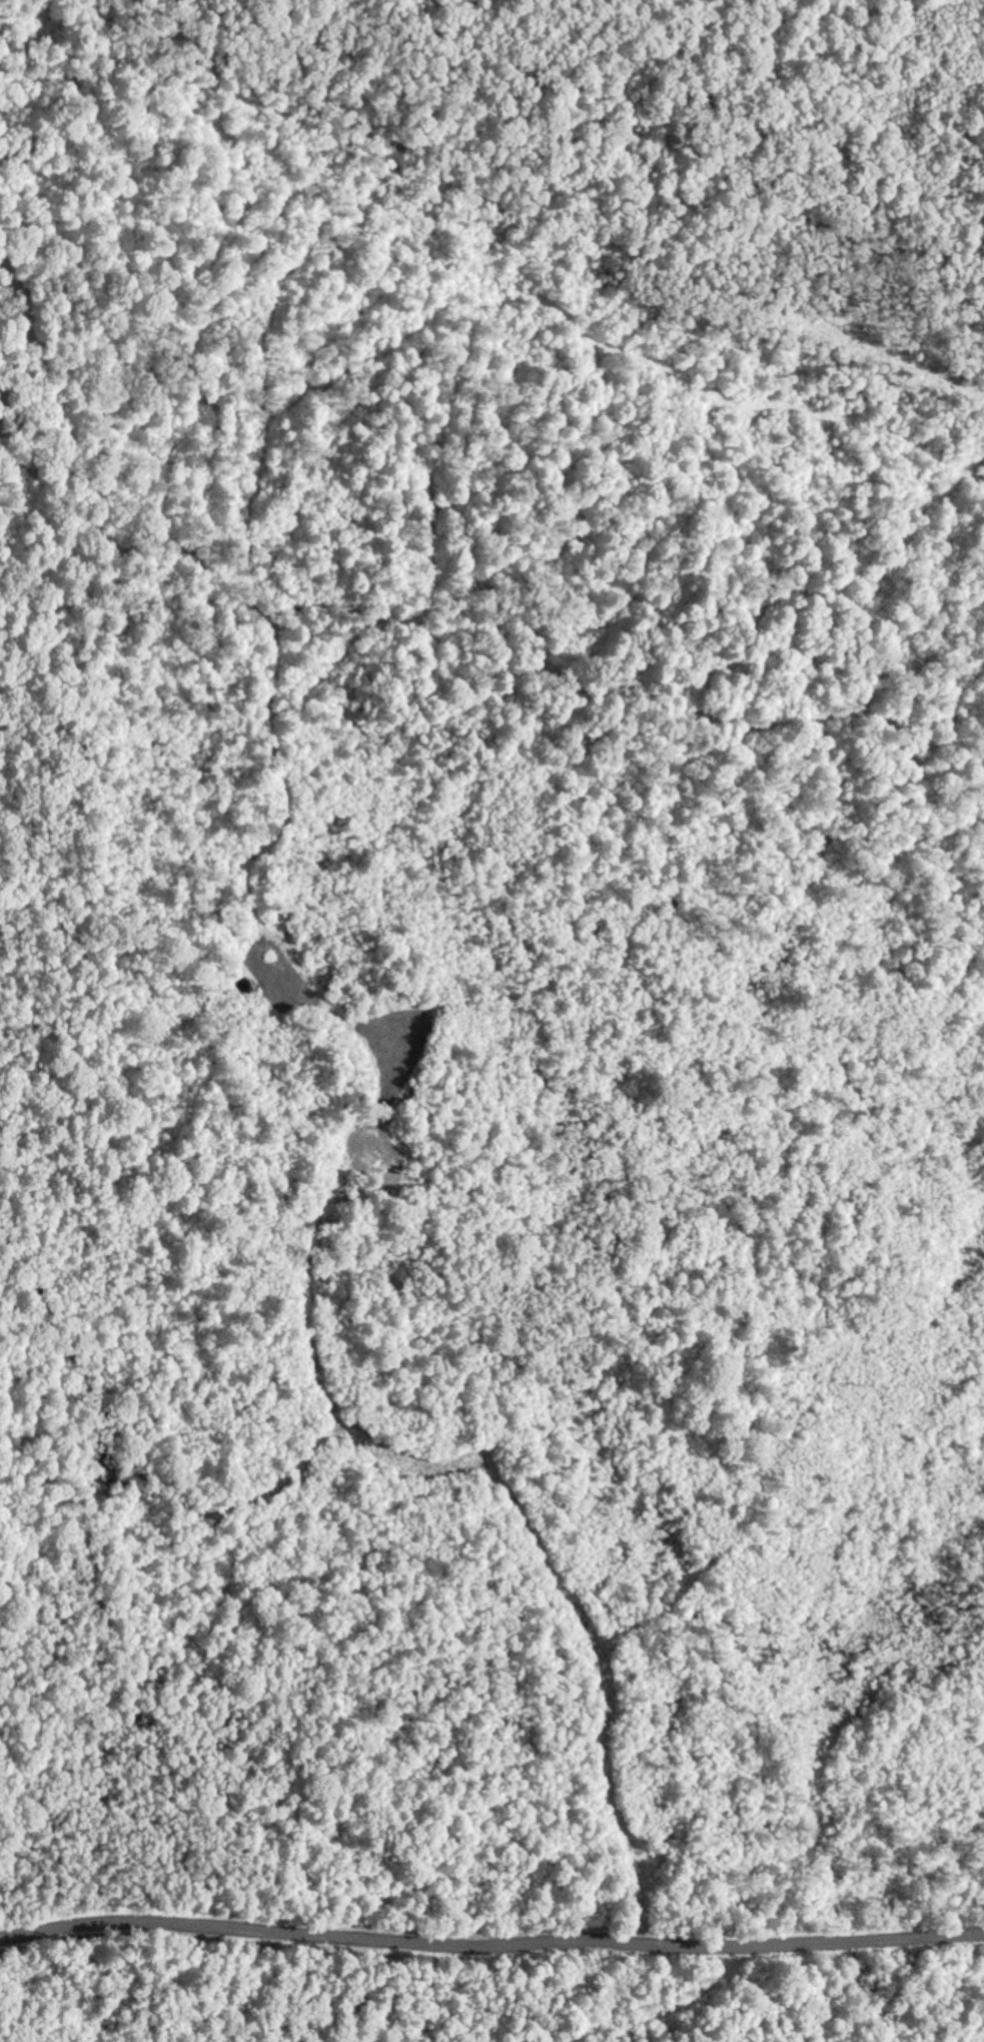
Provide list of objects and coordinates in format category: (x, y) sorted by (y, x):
road: (490, 1945)

